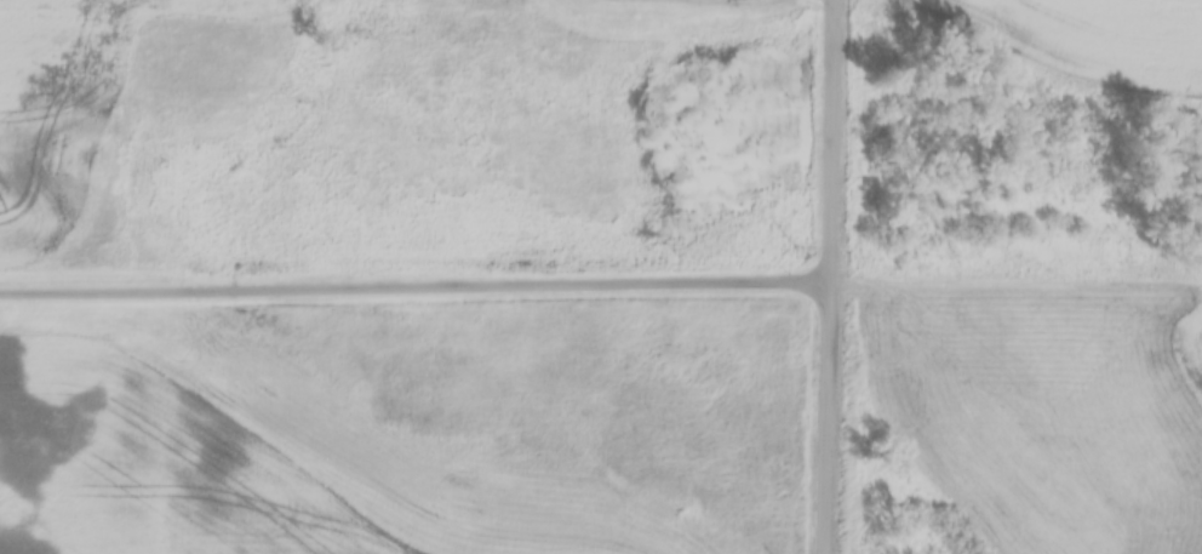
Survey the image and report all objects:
road: (828, 276)
road: (414, 285)

